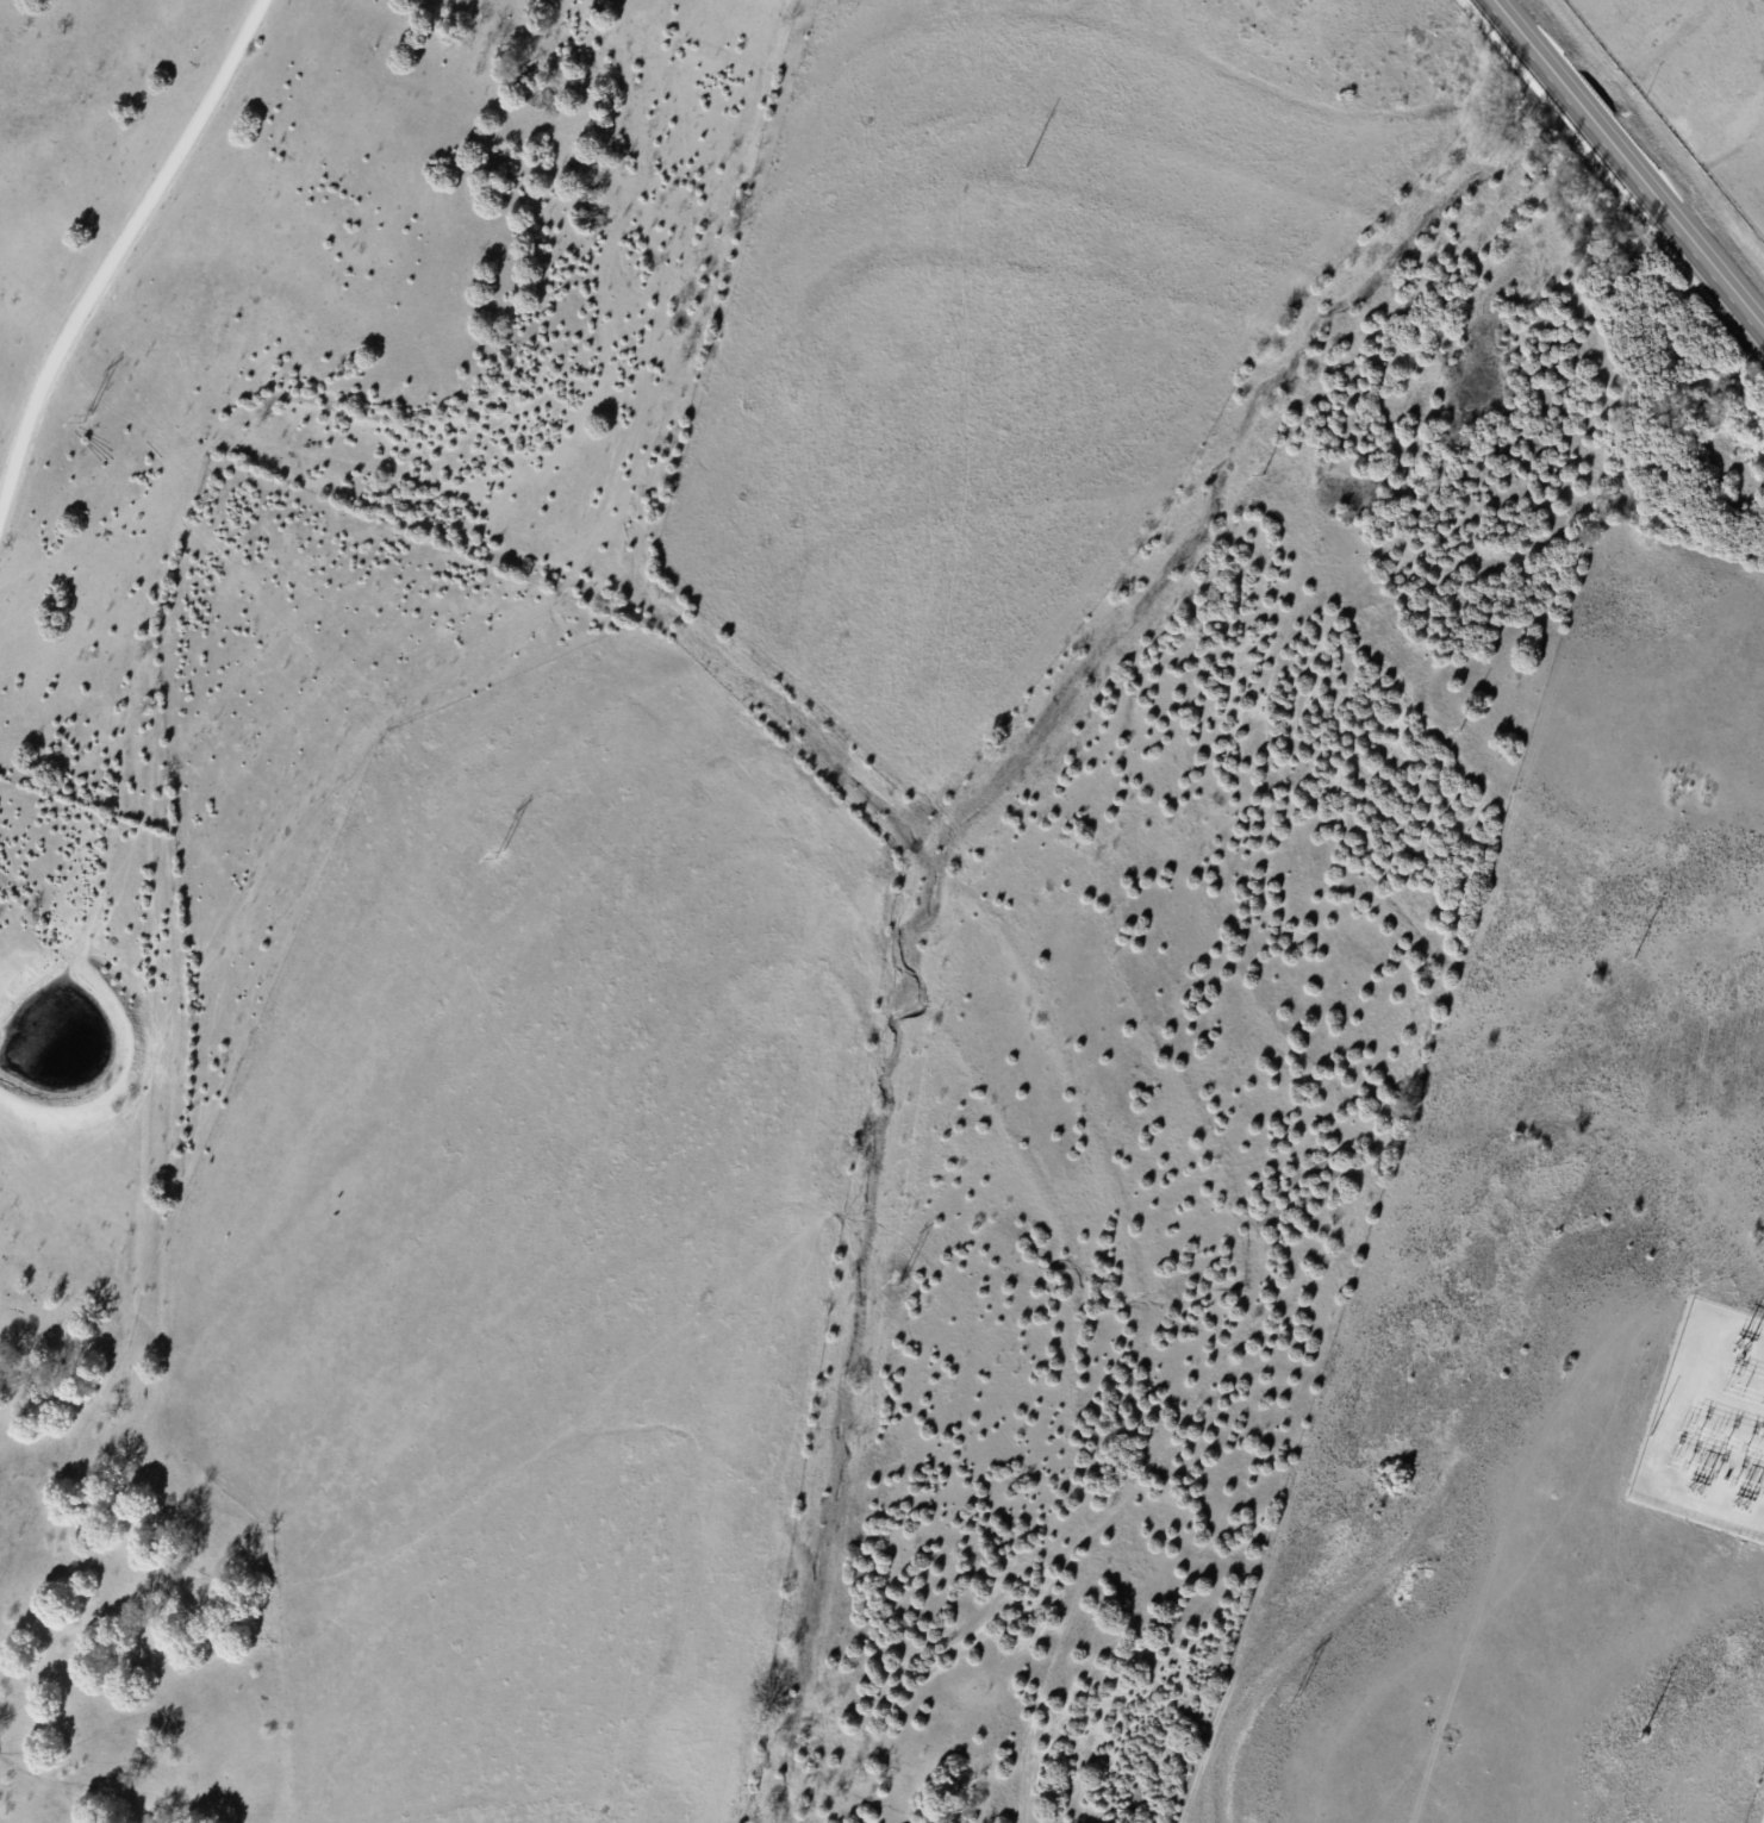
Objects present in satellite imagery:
road: (1631, 162)
power tower: (1024, 168)
road: (113, 246)
power tower: (85, 418)
power tower: (1261, 475)
power tower: (1459, 731)
power tower: (497, 855)
power tower: (1632, 959)
power tower: (899, 1280)
power substation: (1709, 1424)
power tower: (1294, 1698)
power tower: (1640, 1738)

